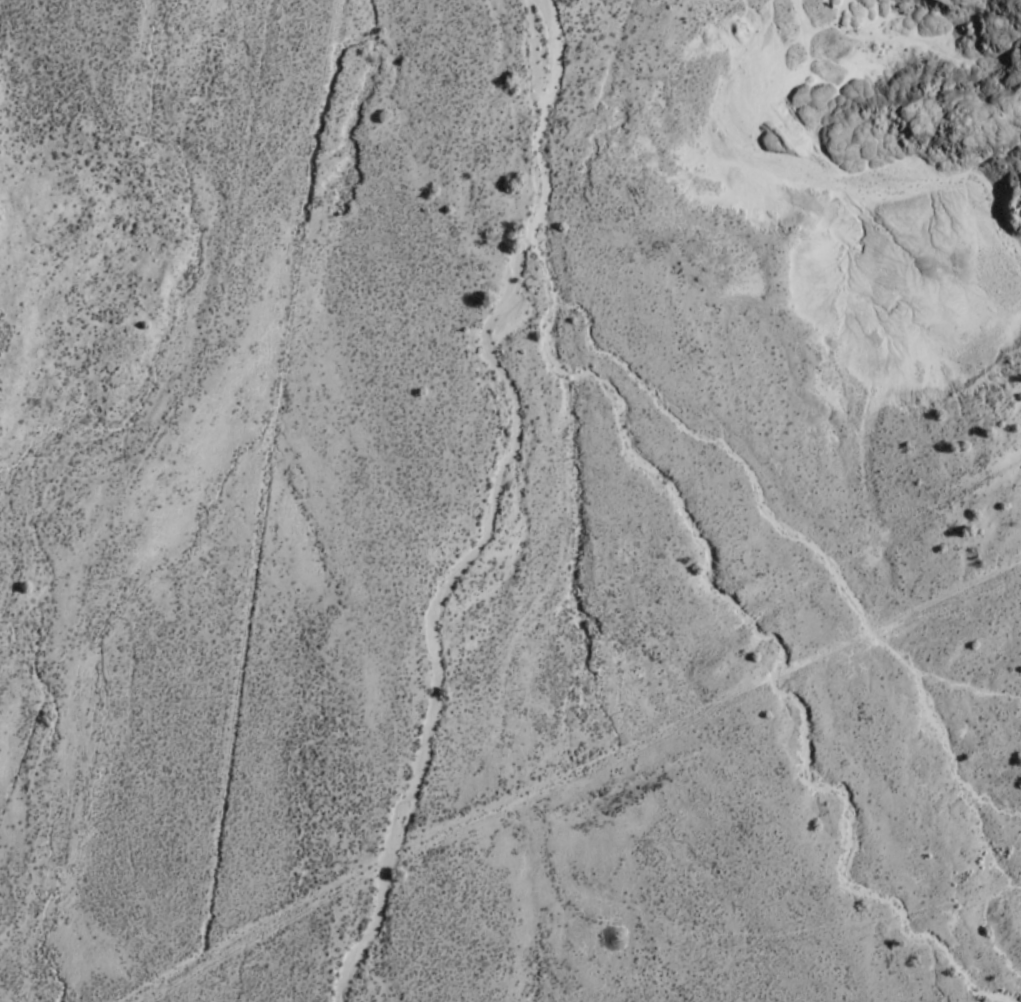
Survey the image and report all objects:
road: (588, 770)
road: (142, 994)

